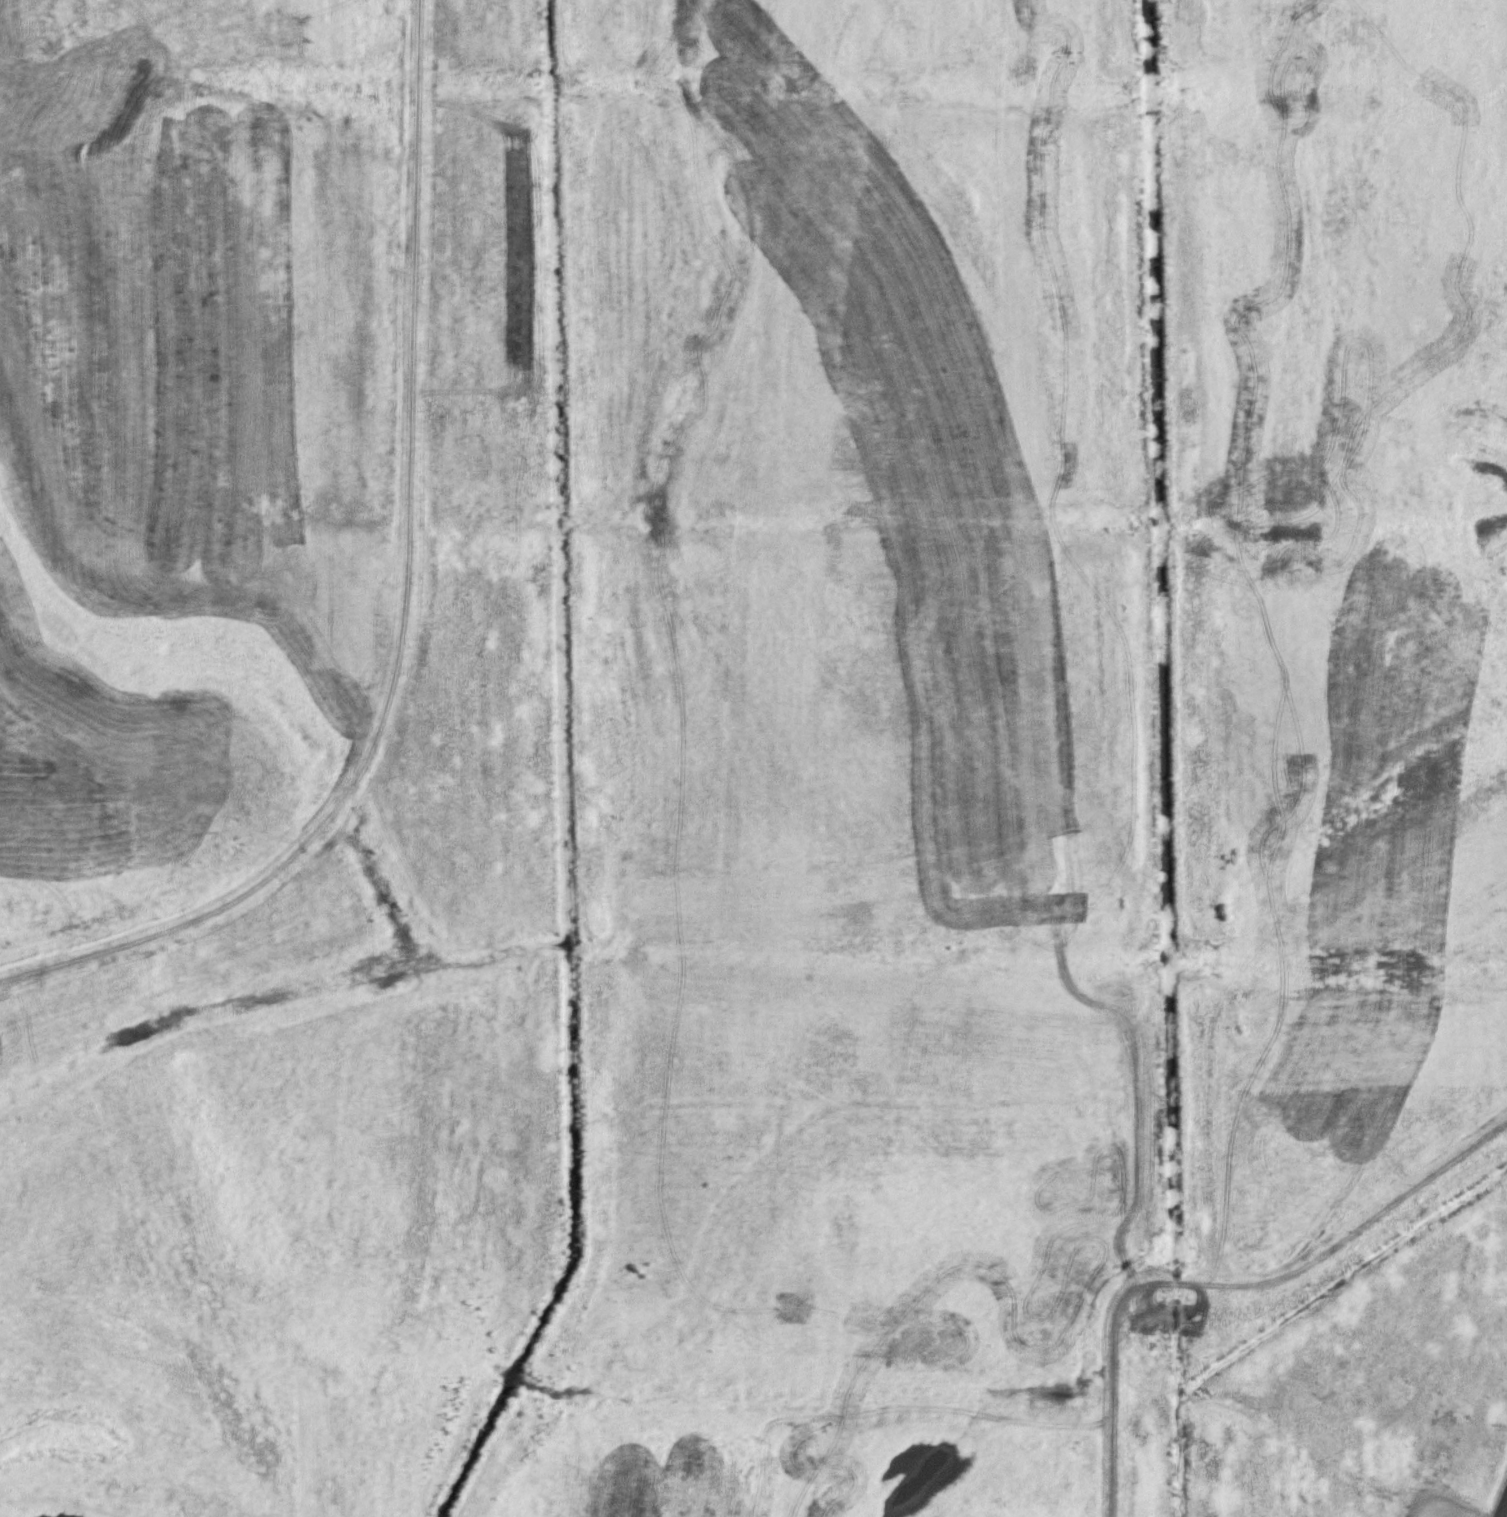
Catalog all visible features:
road: (1500, 1501)

